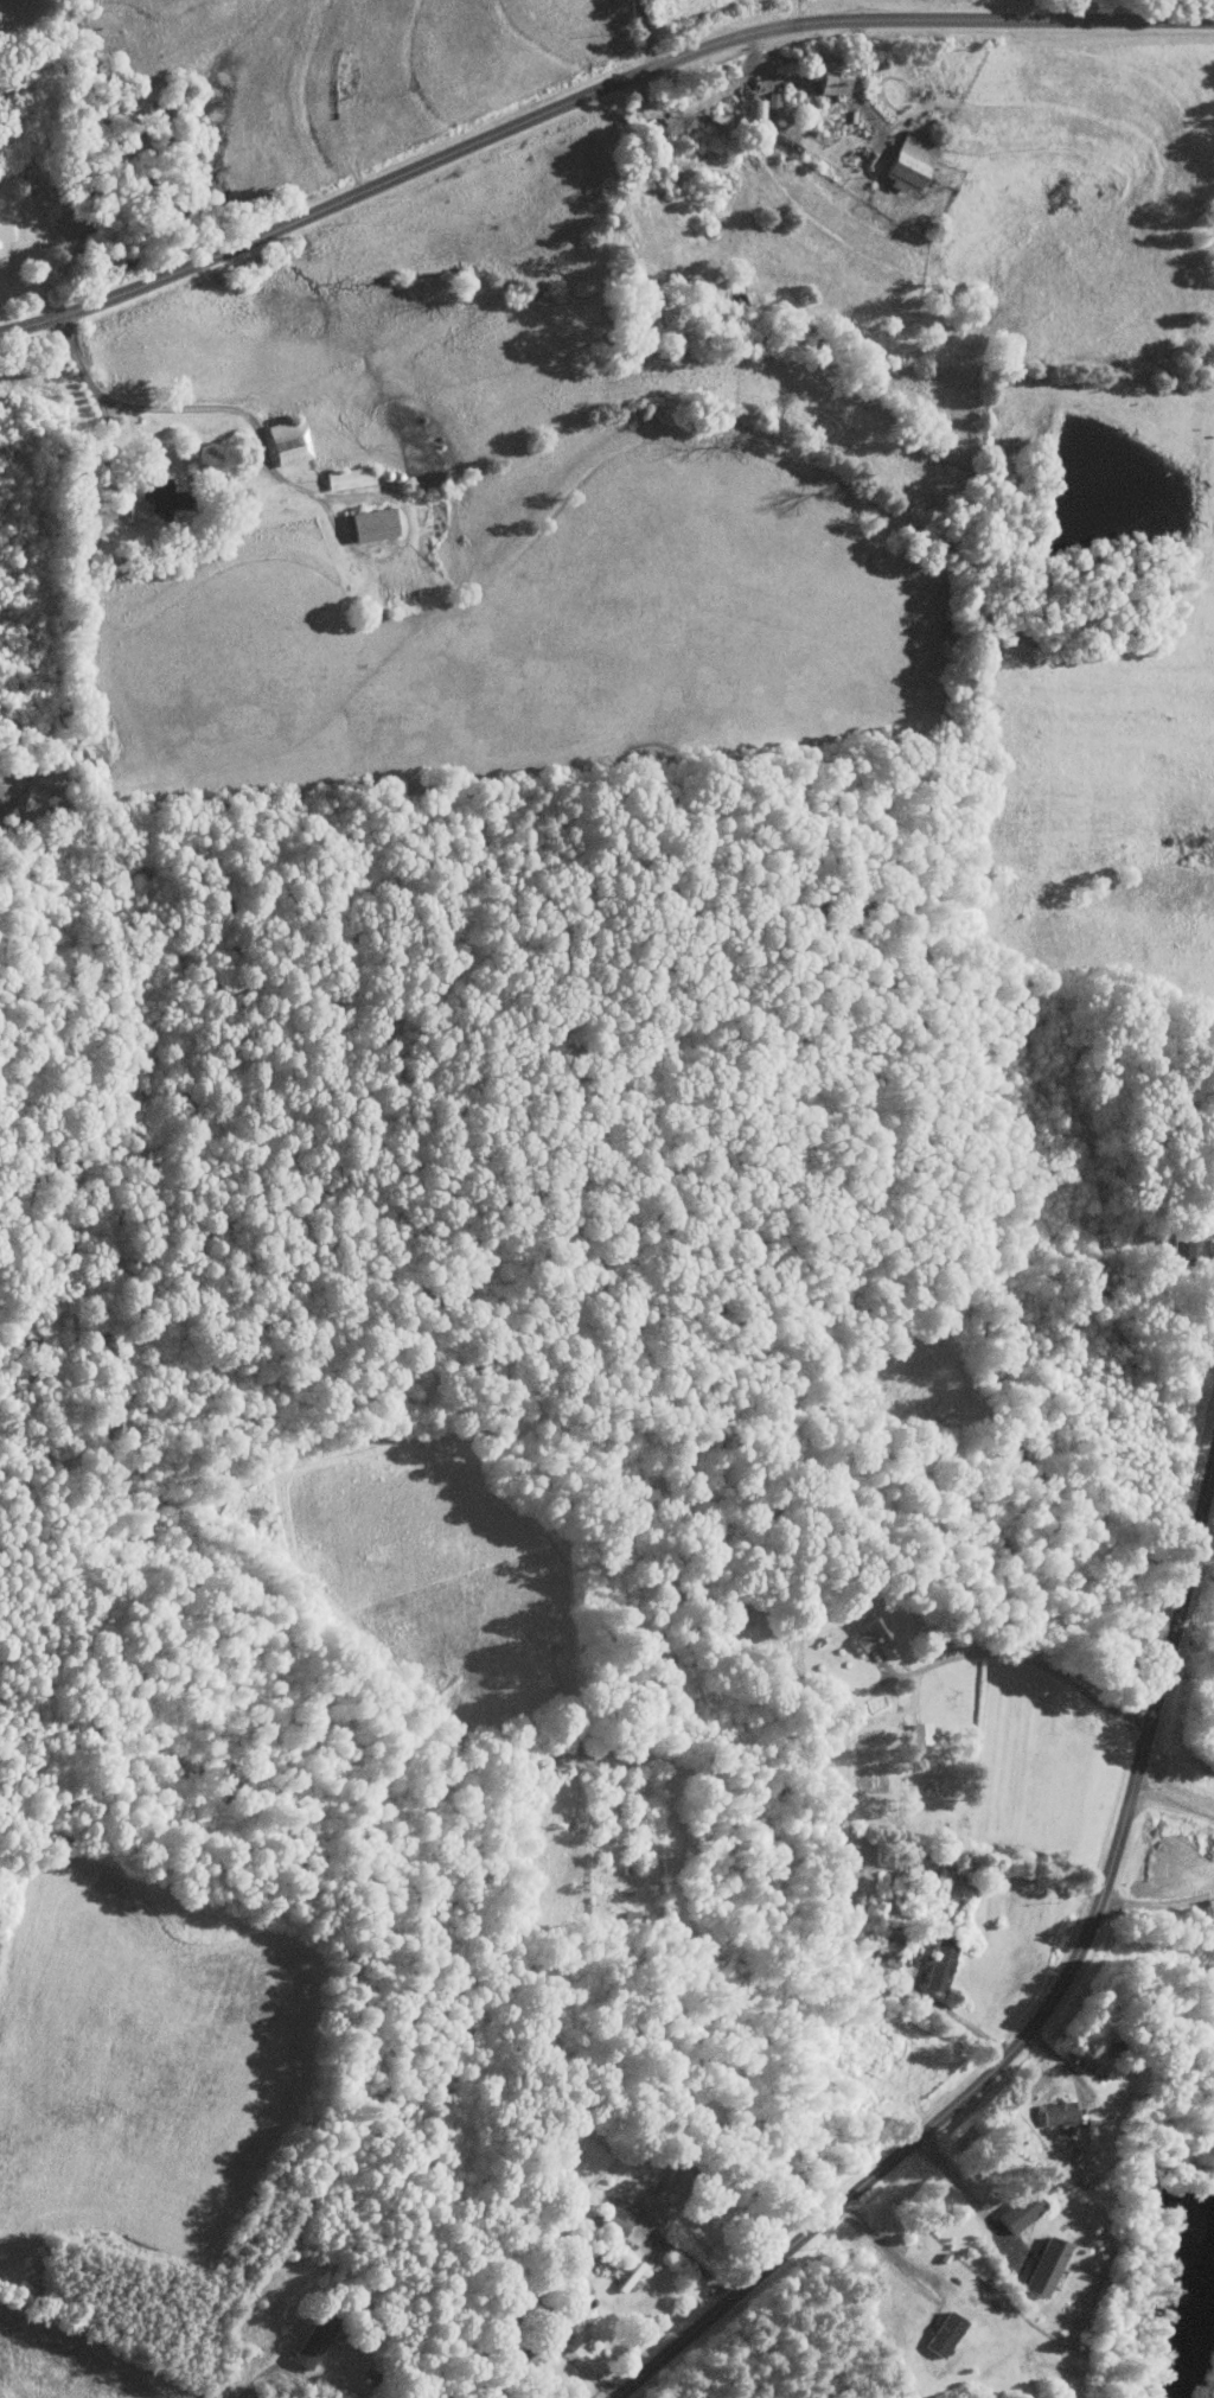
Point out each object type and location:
road: (647, 32)
road: (857, 77)
building: (829, 78)
road: (589, 93)
building: (773, 100)
building: (754, 110)
building: (907, 159)
building: (51, 221)
building: (4, 231)
building: (286, 441)
road: (106, 459)
road: (274, 470)
building: (346, 477)
building: (151, 498)
building: (369, 524)
building: (81, 536)
building: (1180, 1244)
road: (1208, 1246)
building: (869, 1632)
road: (1023, 1656)
building: (920, 1731)
road: (1174, 1800)
building: (952, 1883)
road: (1157, 1901)
building: (887, 1945)
building: (937, 1963)
road: (956, 2014)
road: (1040, 2017)
road: (1067, 2072)
building: (1056, 2112)
road: (958, 2179)
building: (653, 2202)
building: (1017, 2211)
building: (614, 2215)
road: (886, 2243)
road: (685, 2257)
building: (1044, 2266)
building: (943, 2333)
road: (544, 2339)
building: (311, 2342)
road: (254, 2380)

